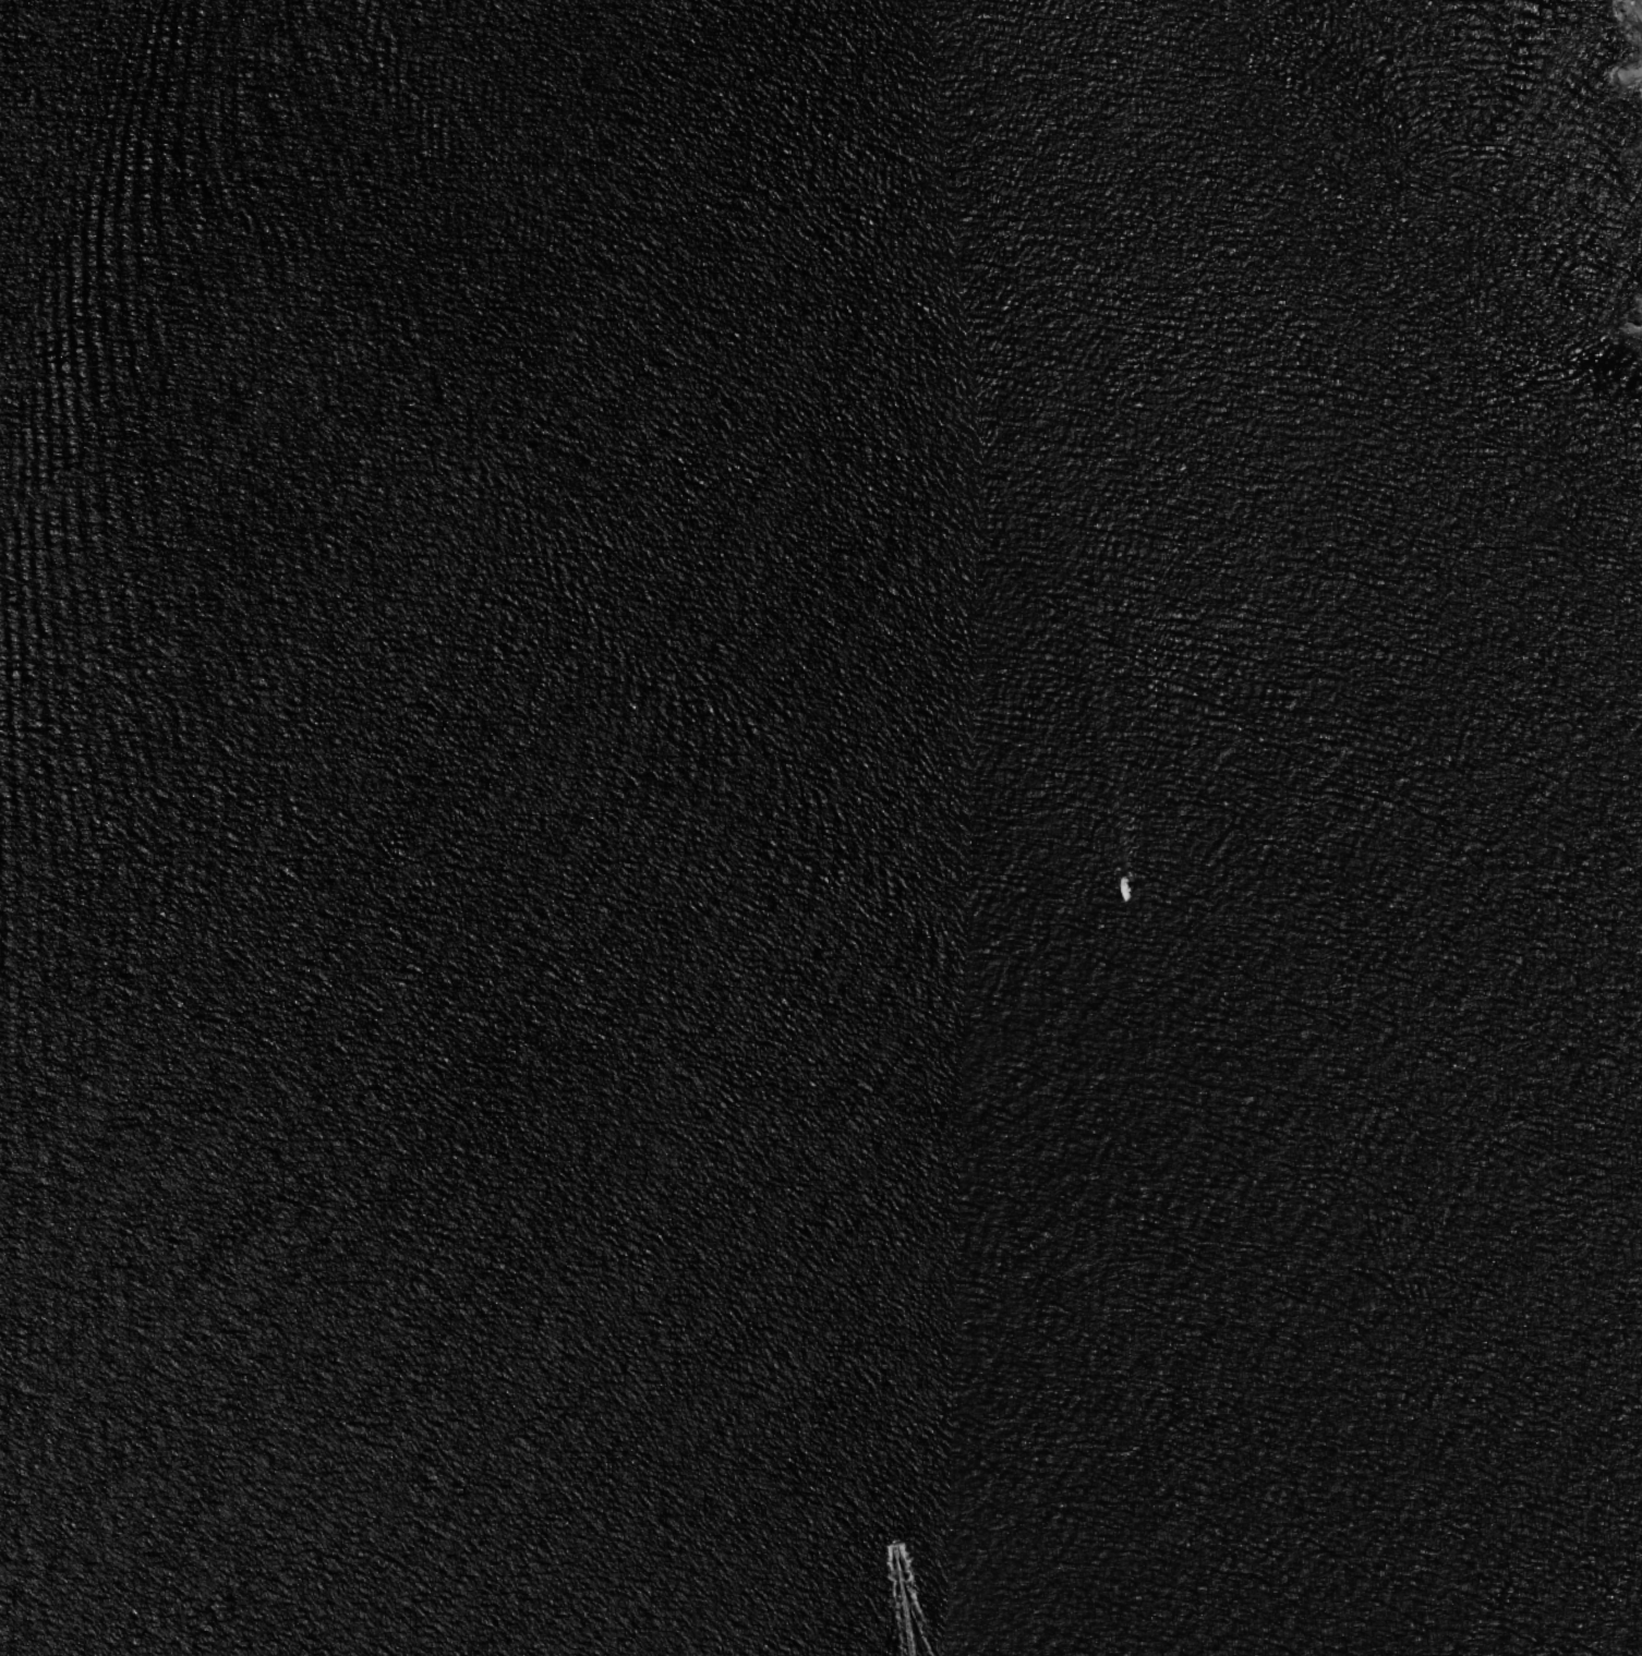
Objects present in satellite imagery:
park: (1631, 20)
park: (1629, 76)
park: (1641, 105)
park: (1640, 148)
park: (1641, 310)
park: (1632, 329)

